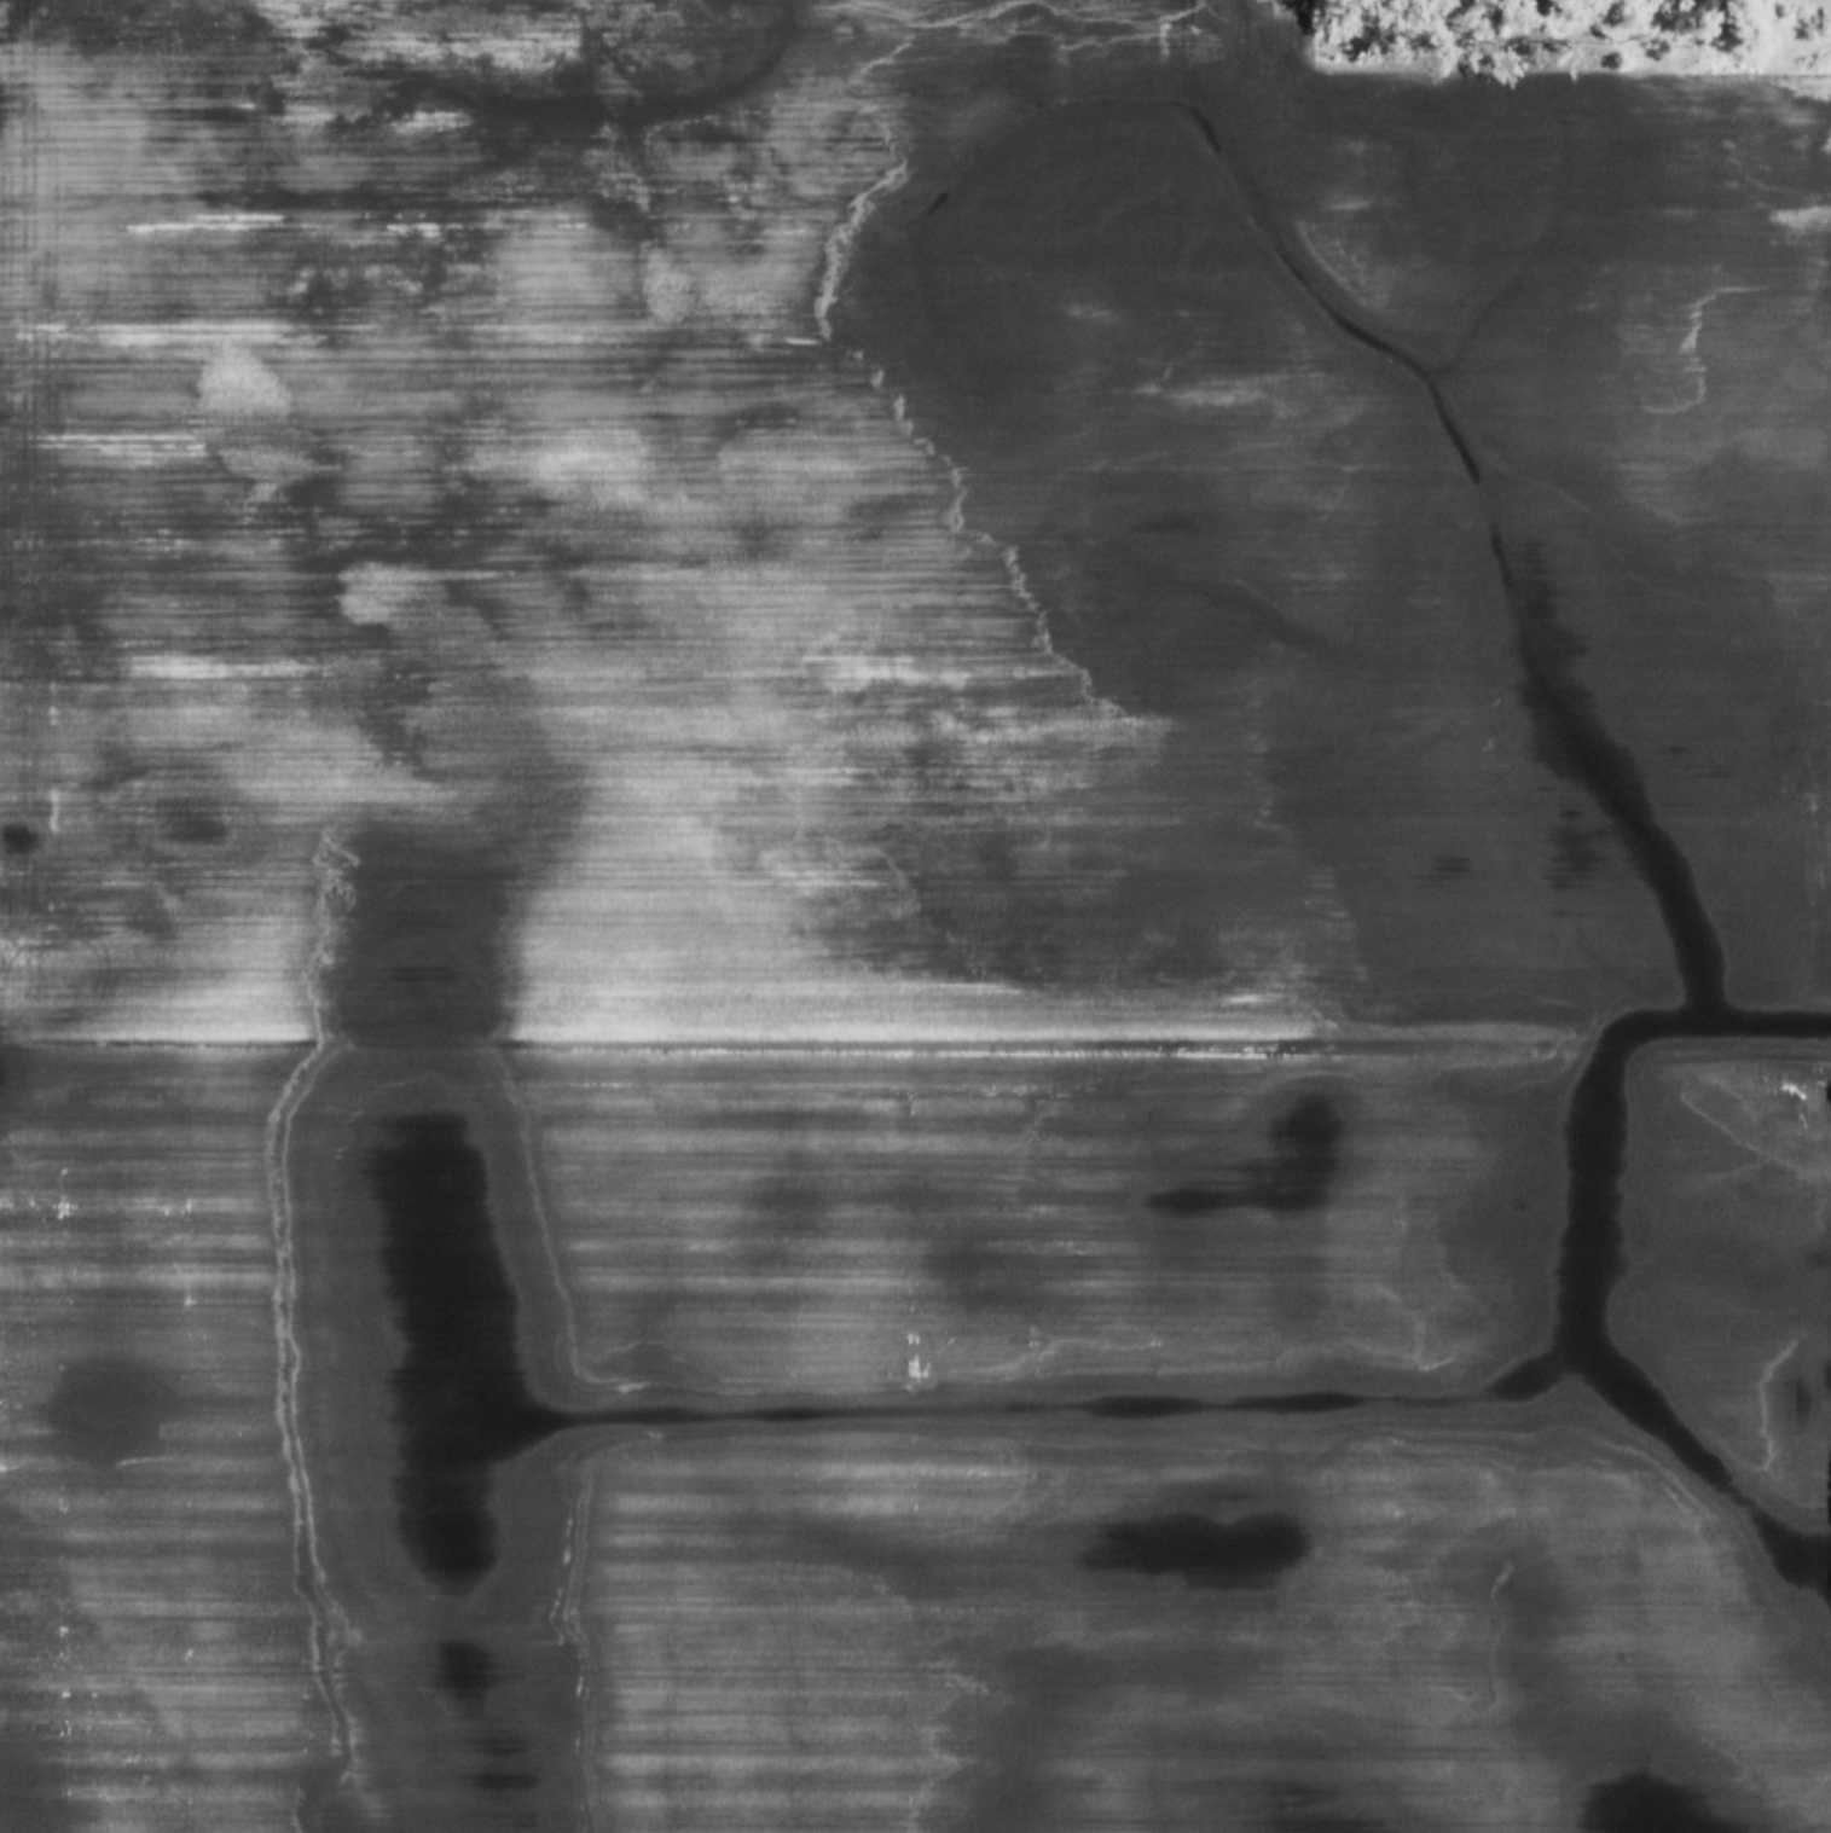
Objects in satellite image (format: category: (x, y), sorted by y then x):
crop: (909, 924)

